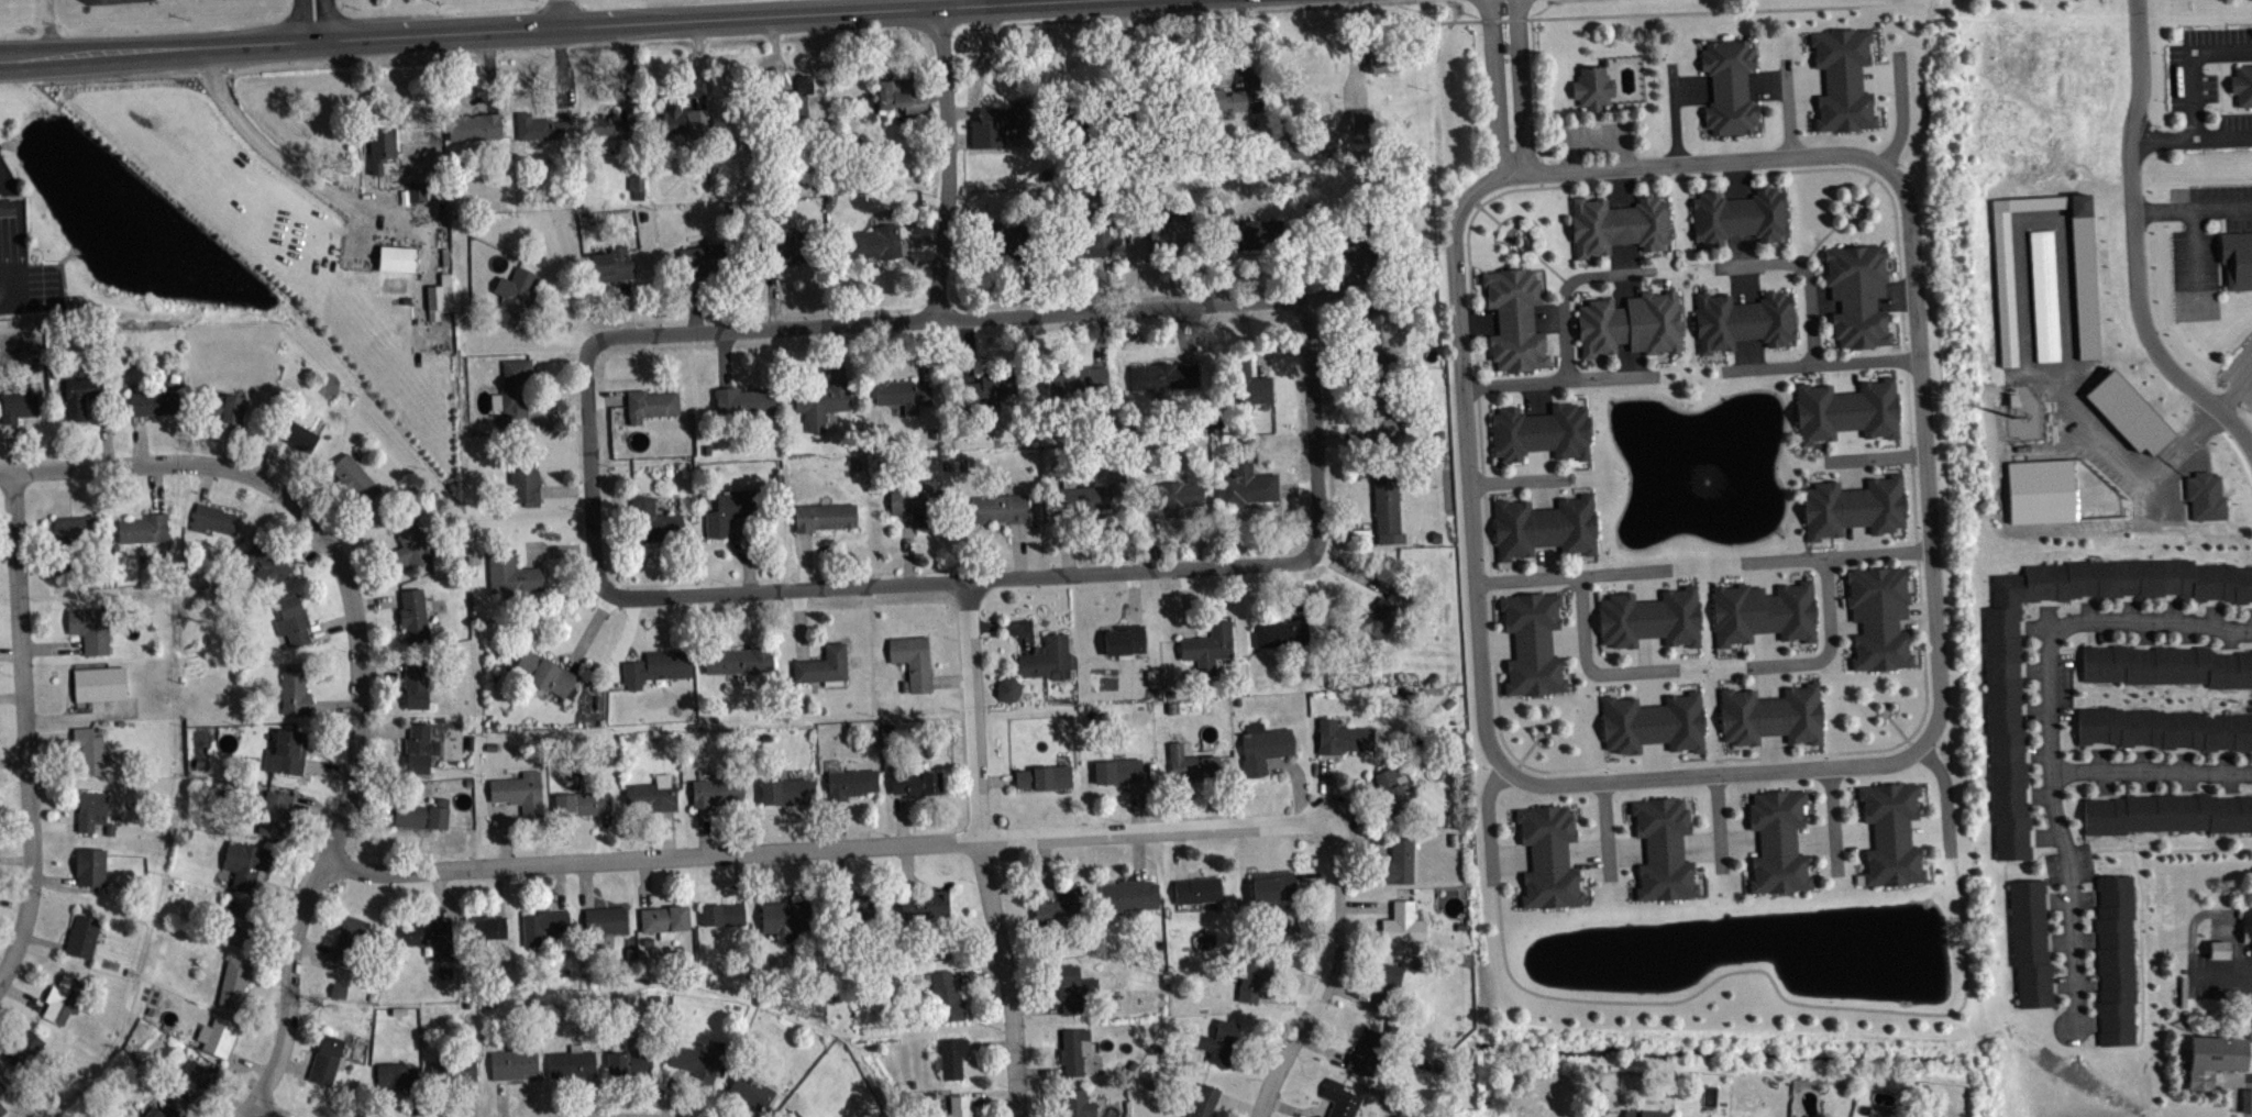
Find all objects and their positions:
road: (923, 3)
road: (560, 13)
road: (1654, 13)
road: (313, 20)
road: (1460, 20)
road: (525, 27)
road: (2195, 64)
building: (1387, 67)
building: (1842, 79)
building: (1729, 86)
parking lot: (2204, 86)
building: (2242, 86)
building: (1591, 87)
road: (1508, 88)
building: (892, 96)
building: (797, 99)
building: (1223, 99)
road: (1788, 109)
building: (1139, 114)
road: (1674, 115)
road: (1906, 119)
building: (682, 121)
building: (1360, 123)
building: (997, 124)
building: (474, 125)
building: (609, 125)
building: (541, 128)
road: (2192, 135)
parking lot: (1596, 142)
building: (1299, 145)
building: (379, 147)
road: (1841, 157)
road: (276, 159)
road: (947, 163)
road: (1812, 169)
road: (1677, 177)
building: (420, 198)
road: (1488, 198)
road: (1829, 201)
building: (7, 207)
road: (2194, 209)
road: (1489, 214)
building: (1738, 215)
road: (1894, 215)
road: (1515, 220)
road: (1535, 224)
building: (1618, 224)
road: (1530, 225)
parking lot: (2204, 230)
building: (1174, 239)
building: (1262, 240)
building: (871, 242)
building: (1009, 242)
road: (2138, 244)
building: (1100, 247)
building: (780, 250)
road: (2195, 250)
building: (397, 257)
building: (705, 257)
building: (2237, 258)
building: (611, 264)
road: (1806, 273)
road: (1566, 289)
building: (1857, 294)
building: (514, 295)
building: (439, 298)
road: (946, 319)
building: (1514, 319)
building: (1742, 320)
building: (1630, 323)
building: (1383, 330)
road: (1901, 331)
road: (1475, 357)
road: (1821, 368)
parking lot: (2240, 373)
building: (1162, 375)
building: (1075, 379)
road: (1560, 383)
building: (1243, 385)
building: (982, 388)
building: (514, 391)
road: (2234, 391)
building: (902, 394)
building: (79, 395)
building: (744, 399)
building: (820, 401)
building: (16, 402)
building: (152, 402)
building: (650, 405)
road: (1907, 407)
building: (223, 408)
building: (1846, 410)
building: (1380, 418)
road: (1314, 430)
building: (294, 432)
building: (1541, 432)
road: (1479, 435)
road: (1874, 457)
road: (145, 463)
road: (589, 467)
building: (353, 476)
building: (523, 479)
road: (1520, 480)
building: (1244, 485)
building: (1171, 495)
building: (1081, 497)
building: (920, 501)
building: (2209, 502)
building: (1386, 505)
road: (1912, 505)
building: (1853, 507)
building: (998, 508)
building: (727, 511)
building: (824, 516)
building: (213, 519)
building: (653, 520)
building: (1544, 527)
building: (73, 529)
building: (143, 529)
road: (1486, 534)
building: (409, 545)
road: (1834, 556)
building: (265, 564)
building: (512, 575)
road: (1571, 575)
road: (957, 580)
road: (1917, 580)
building: (1763, 612)
building: (1384, 613)
building: (412, 615)
building: (1878, 617)
building: (1651, 618)
building: (292, 621)
road: (2079, 621)
parking lot: (2142, 621)
building: (90, 628)
building: (1283, 631)
building: (1124, 639)
building: (1532, 643)
road: (1829, 646)
building: (1207, 648)
building: (1046, 659)
building: (739, 660)
building: (912, 660)
road: (1587, 665)
building: (2165, 665)
building: (655, 666)
building: (823, 666)
building: (544, 674)
building: (99, 683)
building: (415, 684)
building: (294, 690)
building: (1012, 696)
building: (2002, 711)
building: (1771, 715)
building: (1653, 723)
road: (24, 727)
road: (1896, 727)
building: (2163, 728)
parking lot: (2045, 731)
building: (1342, 737)
road: (1501, 739)
building: (1262, 746)
building: (419, 748)
road: (1527, 750)
building: (91, 751)
road: (1845, 751)
building: (287, 752)
building: (1190, 762)
parking lot: (2157, 770)
building: (1117, 771)
building: (1044, 776)
building: (849, 783)
building: (917, 783)
building: (787, 790)
building: (1392, 790)
building: (519, 792)
building: (717, 793)
building: (652, 794)
road: (1944, 797)
road: (2049, 800)
building: (582, 803)
road: (344, 805)
building: (92, 812)
building: (274, 814)
building: (2166, 814)
building: (421, 815)
road: (1832, 821)
road: (1487, 822)
road: (1719, 825)
road: (1605, 831)
building: (1890, 833)
building: (1777, 842)
road: (827, 845)
road: (982, 849)
building: (1663, 849)
road: (2109, 849)
building: (1548, 856)
building: (1399, 861)
building: (244, 863)
building: (90, 866)
building: (1271, 885)
building: (1196, 889)
building: (1129, 895)
building: (925, 905)
building: (1060, 907)
building: (857, 908)
building: (722, 915)
road: (2139, 915)
building: (785, 918)
building: (605, 919)
building: (664, 919)
building: (243, 925)
building: (1401, 925)
building: (544, 926)
building: (486, 927)
building: (82, 936)
building: (432, 936)
building: (2249, 940)
building: (347, 941)
road: (2007, 941)
building: (2030, 942)
parking lot: (2071, 942)
building: (2222, 955)
building: (2115, 959)
road: (2219, 971)
road: (1766, 972)
parking lot: (2222, 973)
road: (1324, 975)
building: (1252, 980)
building: (233, 981)
building: (1387, 986)
building: (1072, 988)
building: (945, 995)
building: (62, 999)
building: (217, 1036)
building: (1218, 1041)
building: (1073, 1049)
building: (24, 1052)
building: (1366, 1054)
building: (950, 1057)
building: (2211, 1059)
building: (325, 1060)
building: (630, 1062)
building: (572, 1063)
building: (512, 1064)
building: (694, 1064)
building: (452, 1070)
building: (395, 1075)
road: (2232, 1077)
building: (191, 1080)
building: (1, 1087)
building: (751, 1092)
building: (1339, 1099)
building: (1199, 1103)
building: (1077, 1104)
building: (958, 1107)
building: (2, 1109)
road: (267, 1109)
building: (1644, 1110)
building: (161, 1112)
road: (752, 1114)
building: (792, 1114)

